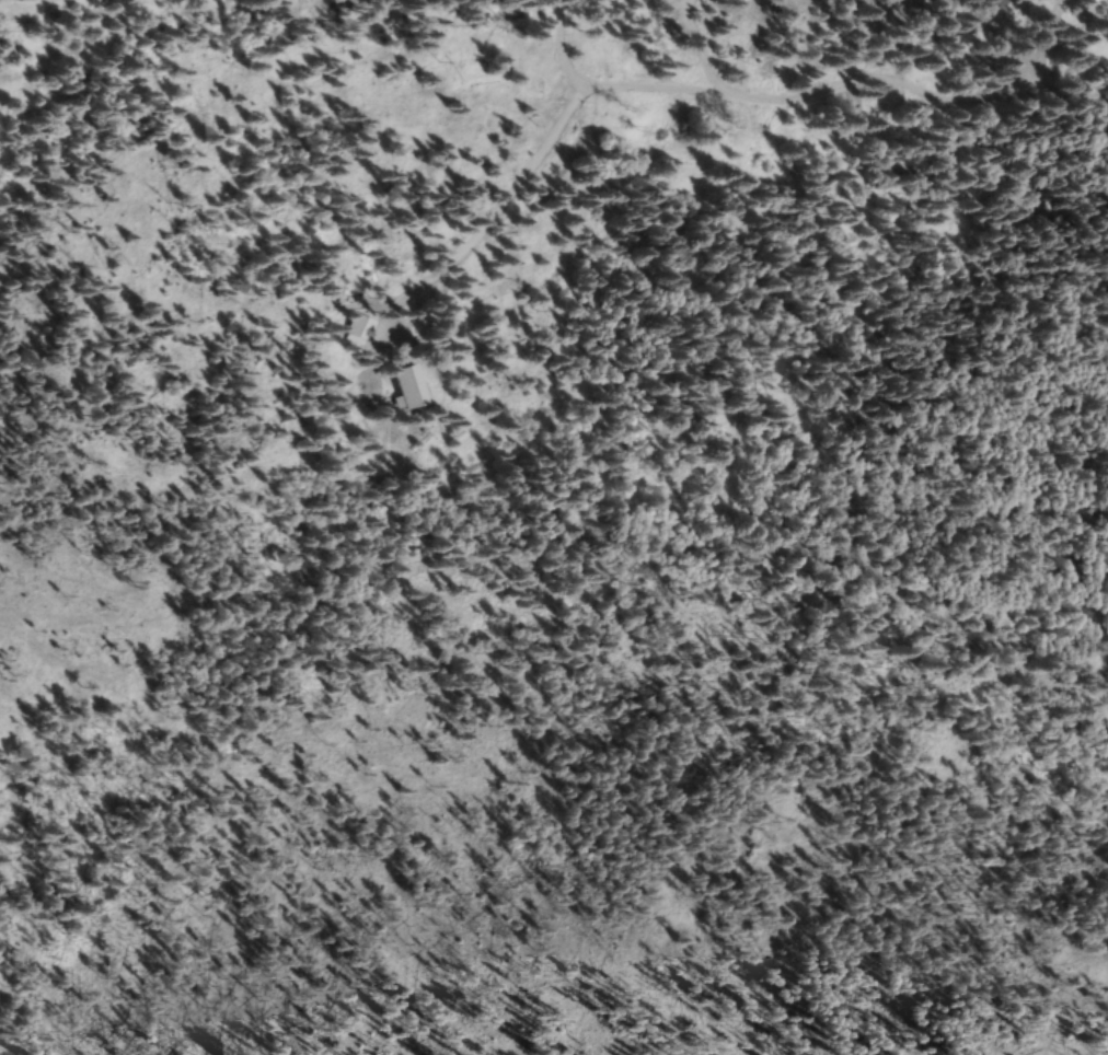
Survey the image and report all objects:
building: (1097, 0)
road: (858, 95)
building: (360, 327)
building: (412, 389)

